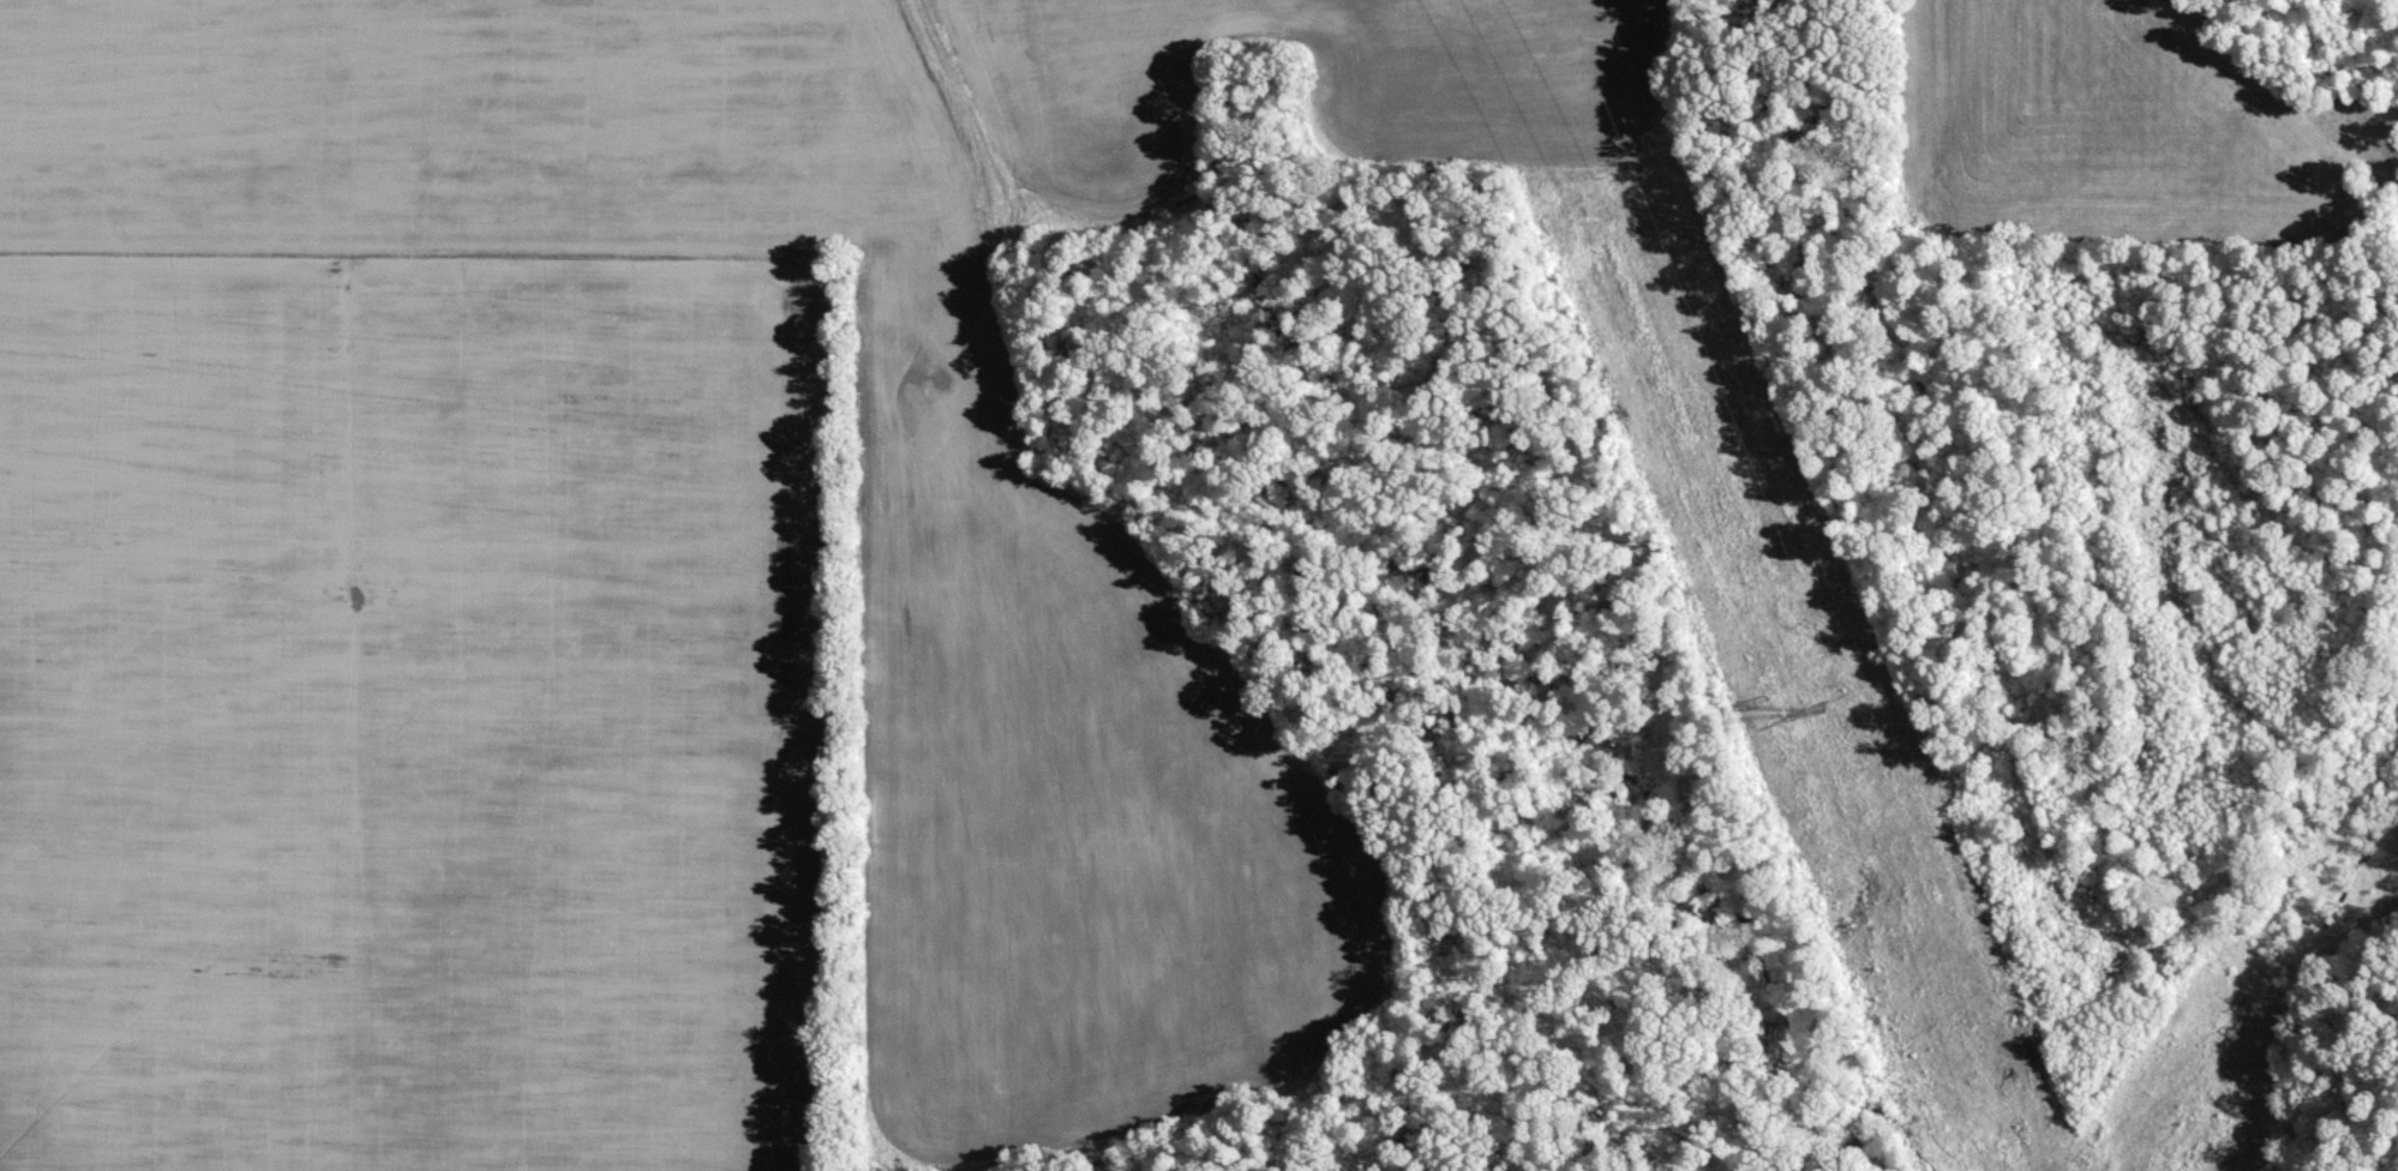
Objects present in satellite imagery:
power tower: (1814, 707)

